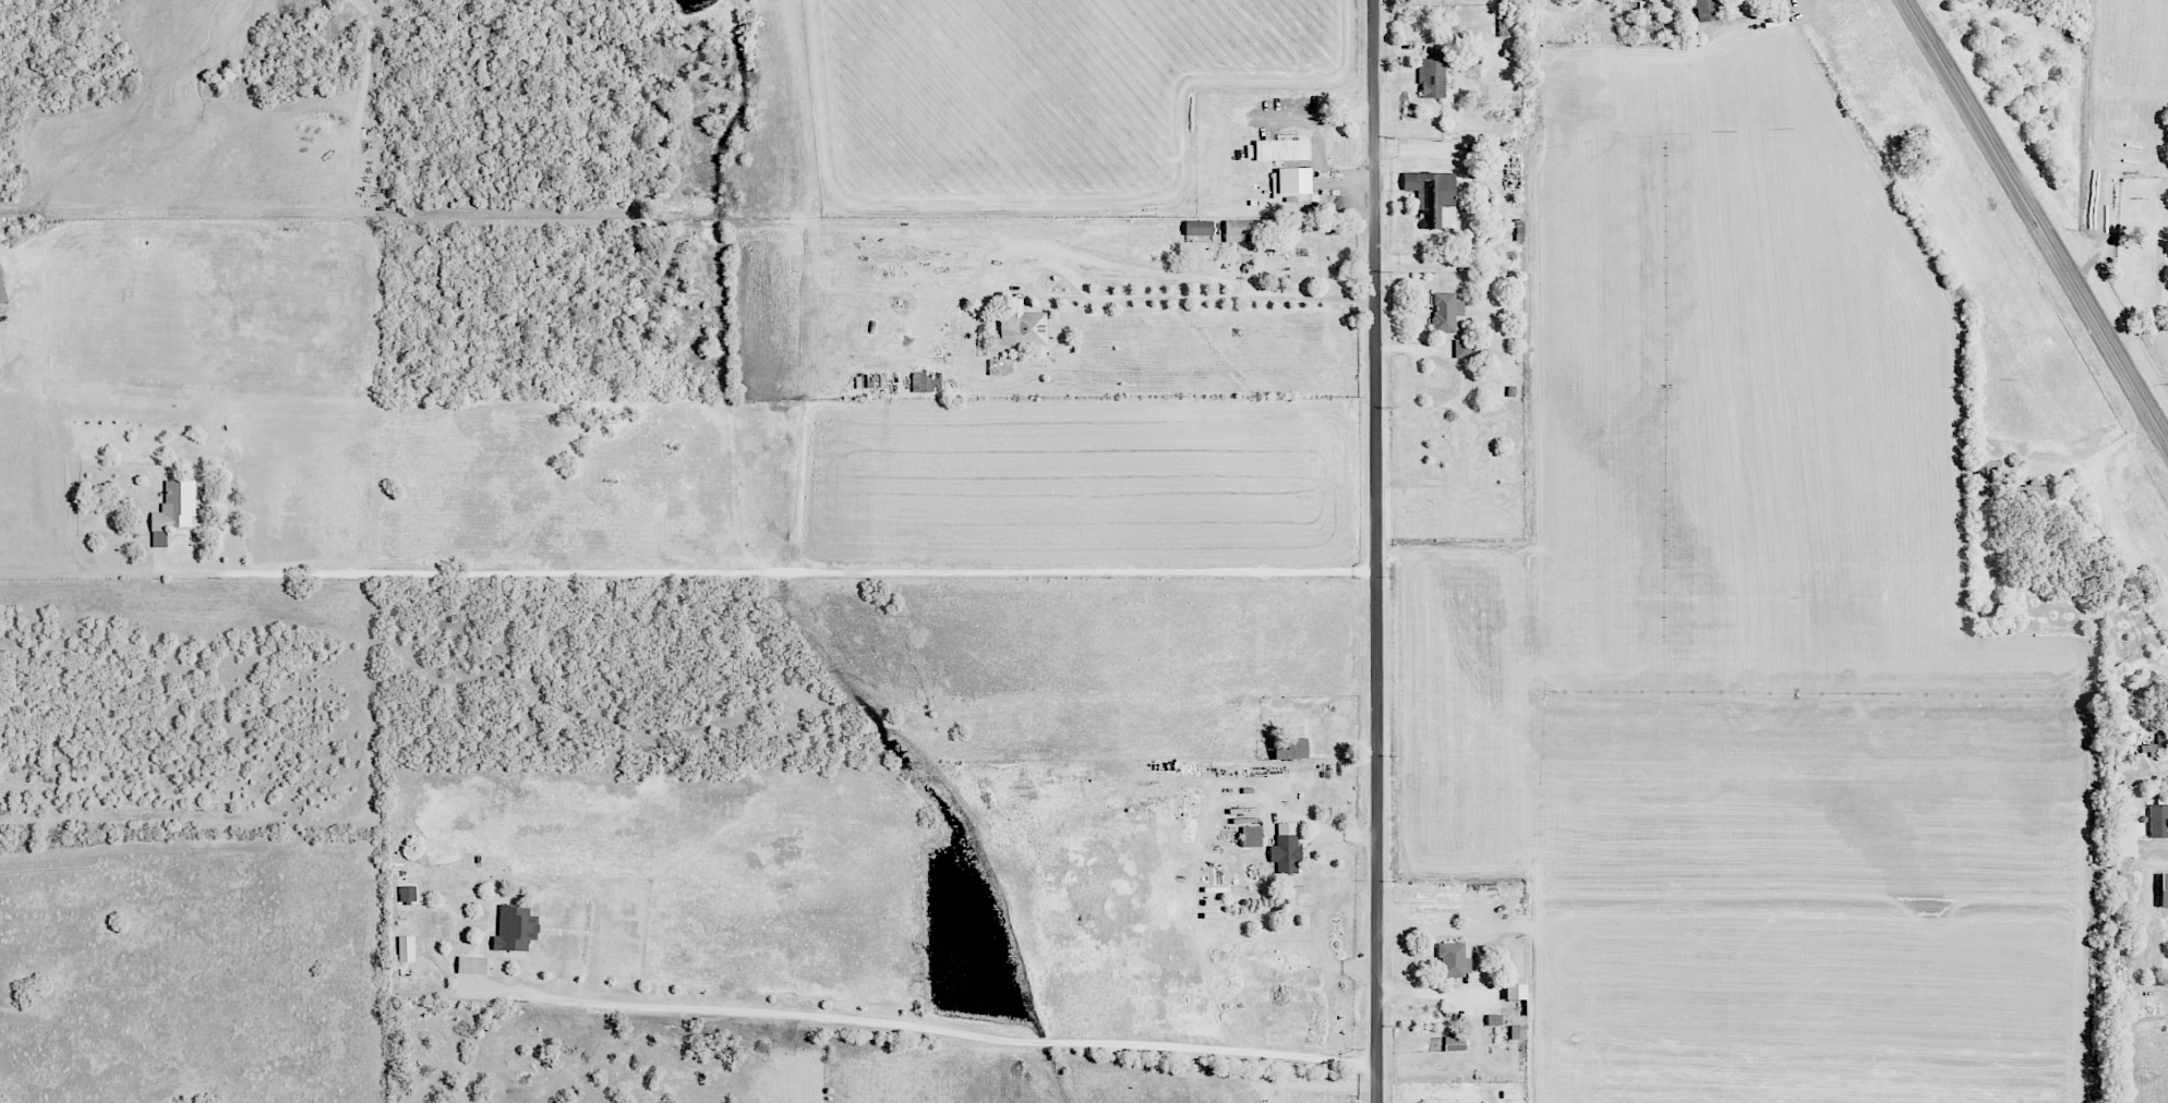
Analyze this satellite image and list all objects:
building: (1707, 10)
road: (1966, 15)
building: (1433, 73)
crop: (2125, 85)
road: (1346, 118)
road: (1323, 141)
building: (1281, 150)
building: (1291, 182)
building: (1434, 197)
road: (2035, 223)
building: (1199, 228)
building: (1252, 229)
building: (2, 291)
road: (1044, 295)
road: (2160, 304)
building: (1447, 312)
building: (1022, 327)
building: (1464, 349)
building: (871, 380)
building: (1989, 471)
building: (1987, 493)
building: (173, 510)
road: (1378, 550)
road: (776, 572)
crop: (1748, 626)
building: (2136, 691)
building: (1292, 749)
building: (2159, 821)
building: (2125, 838)
building: (1286, 847)
building: (2164, 890)
building: (408, 893)
building: (515, 928)
building: (407, 948)
building: (1455, 959)
building: (471, 965)
building: (1516, 991)
road: (1437, 993)
building: (1495, 1019)
road: (938, 1030)
building: (1518, 1032)
building: (1455, 1041)

